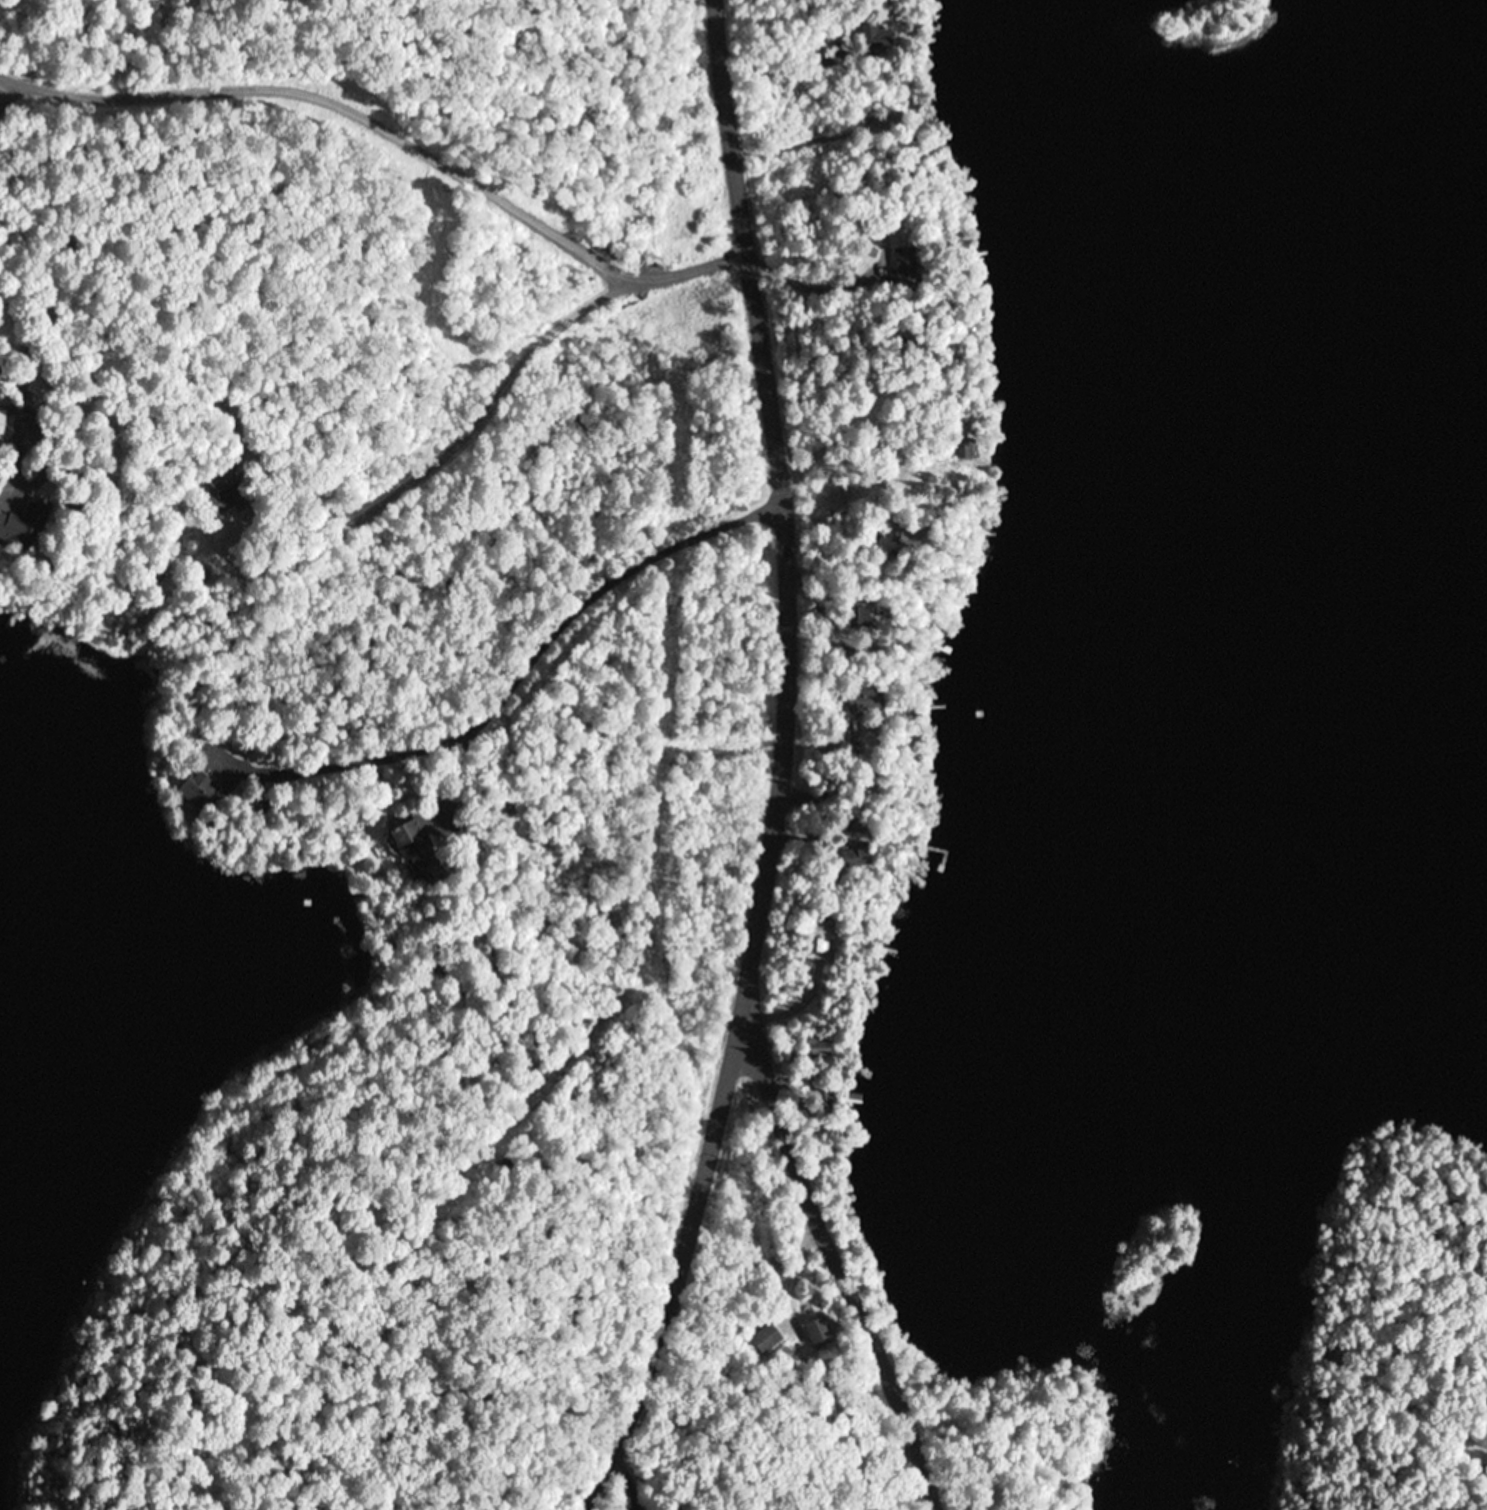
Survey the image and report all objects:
road: (396, 108)
road: (494, 552)
road: (782, 768)
road: (837, 1259)

